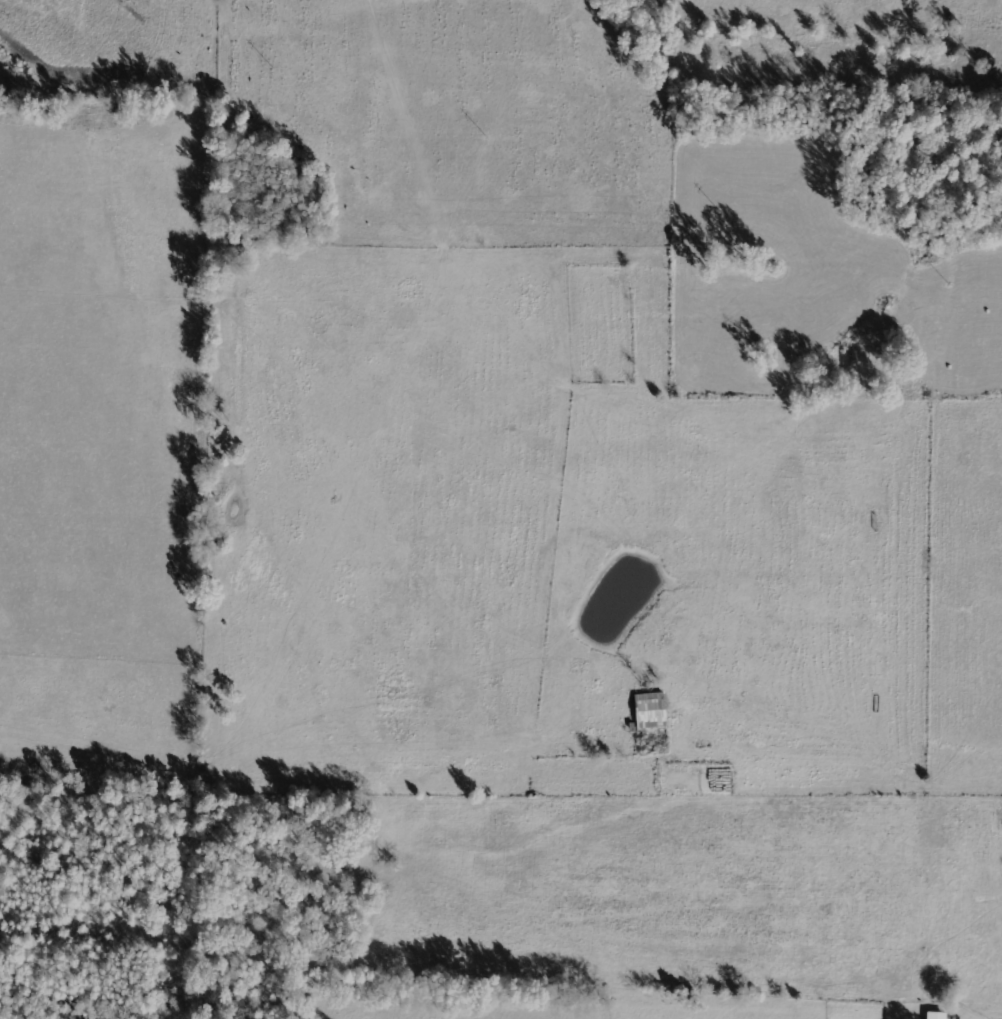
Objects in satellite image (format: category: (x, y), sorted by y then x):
building: (650, 710)
building: (935, 1015)

